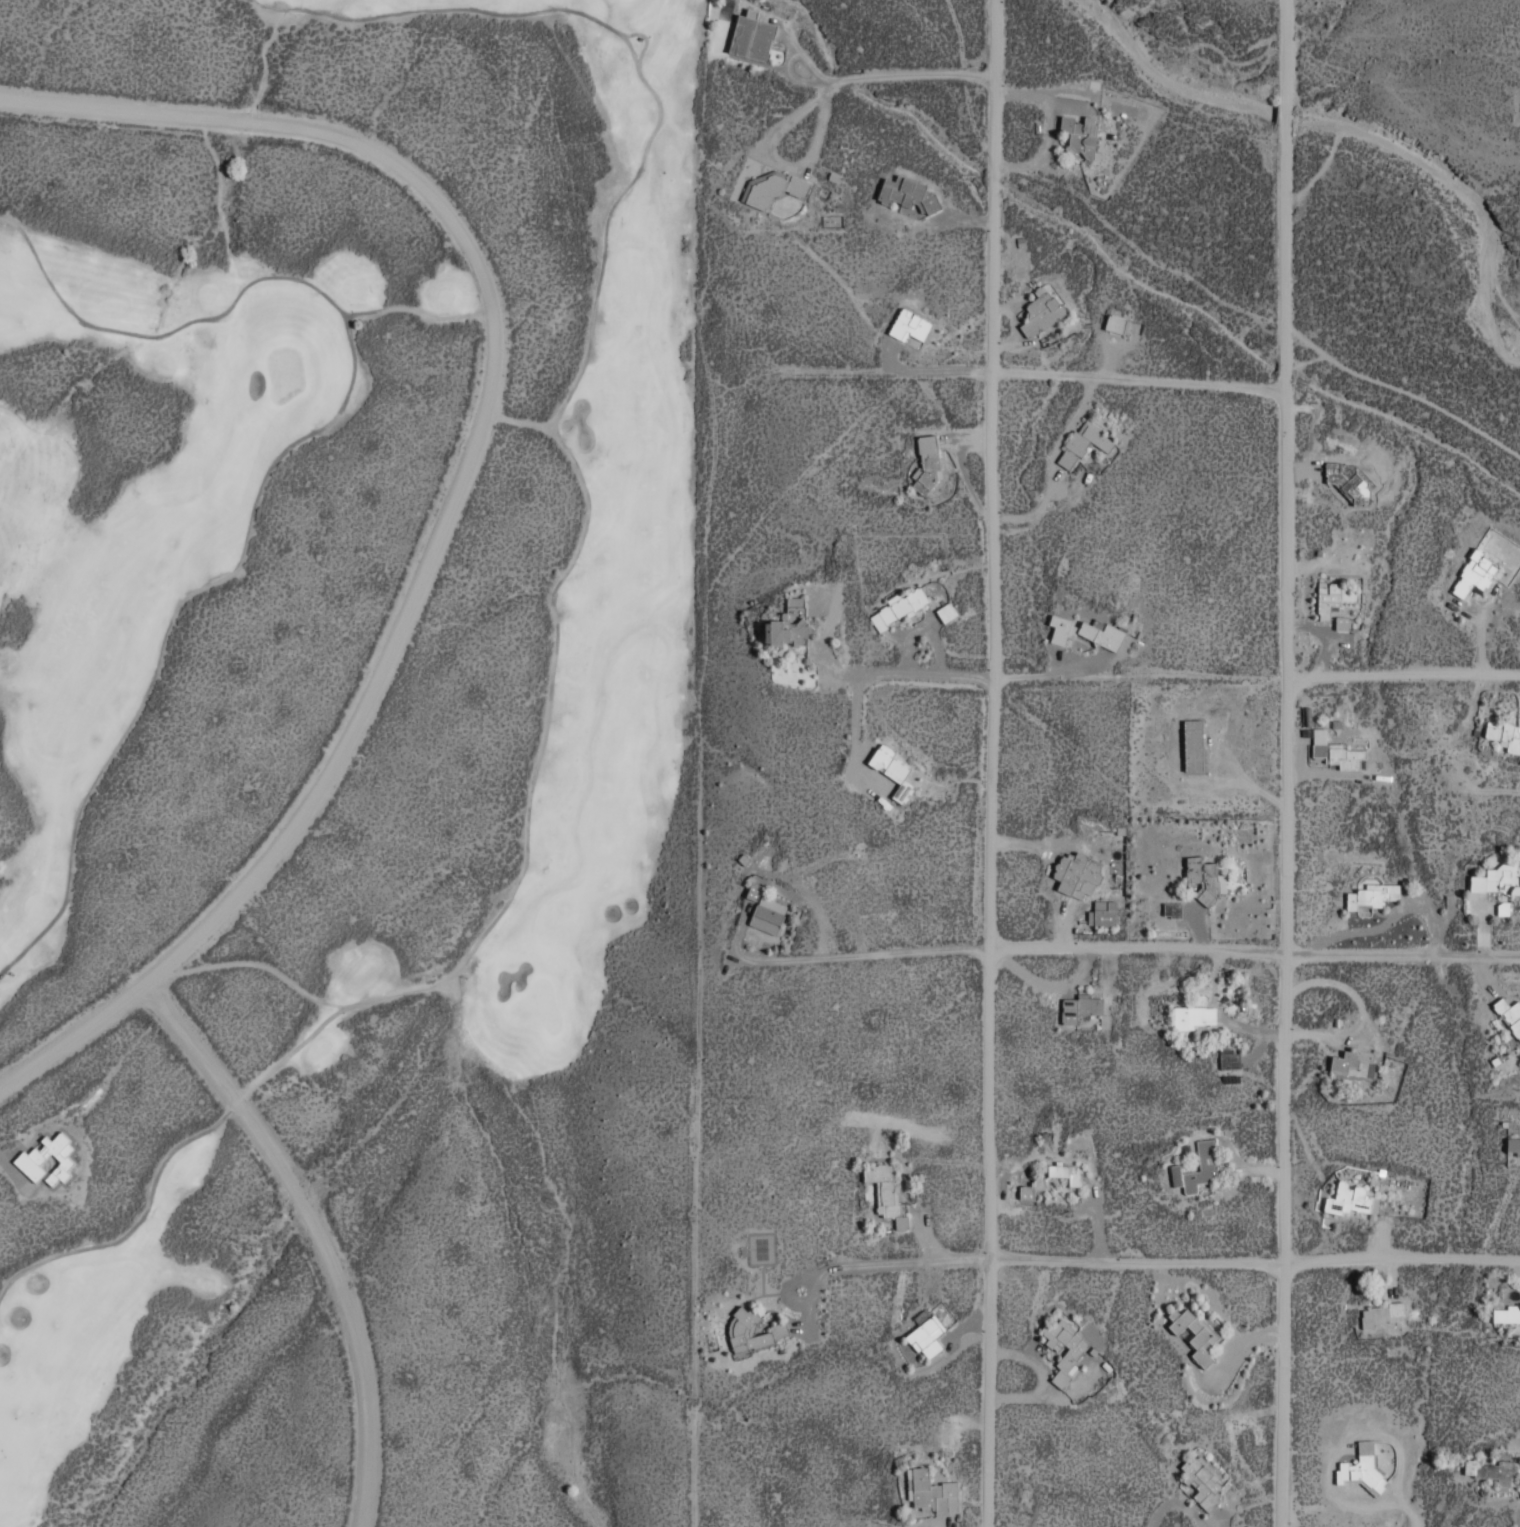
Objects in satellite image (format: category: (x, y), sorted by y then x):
building: (751, 36)
building: (1079, 134)
building: (908, 193)
building: (1042, 309)
building: (1115, 322)
building: (909, 324)
road: (1141, 380)
building: (1083, 442)
building: (928, 461)
road: (461, 490)
building: (1474, 573)
building: (1333, 597)
building: (899, 607)
building: (946, 611)
building: (790, 622)
building: (1342, 622)
building: (1059, 629)
building: (1101, 634)
park: (320, 641)
road: (931, 675)
road: (1403, 681)
building: (1504, 734)
building: (1336, 751)
road: (993, 763)
road: (1286, 763)
building: (892, 770)
building: (1076, 874)
building: (1205, 877)
building: (1498, 879)
building: (1372, 895)
building: (1503, 908)
building: (1102, 912)
building: (767, 915)
road: (878, 952)
road: (1254, 954)
building: (1080, 1007)
building: (1510, 1014)
building: (1193, 1016)
building: (1229, 1058)
building: (1513, 1144)
building: (32, 1158)
building: (1207, 1167)
building: (1064, 1173)
building: (1031, 1187)
building: (885, 1192)
building: (1350, 1199)
road: (316, 1235)
road: (1255, 1259)
building: (1382, 1314)
building: (1507, 1314)
building: (921, 1316)
building: (751, 1330)
building: (1195, 1334)
building: (927, 1336)
building: (1078, 1350)
building: (1362, 1466)
building: (1493, 1471)
building: (1203, 1480)
building: (930, 1491)

